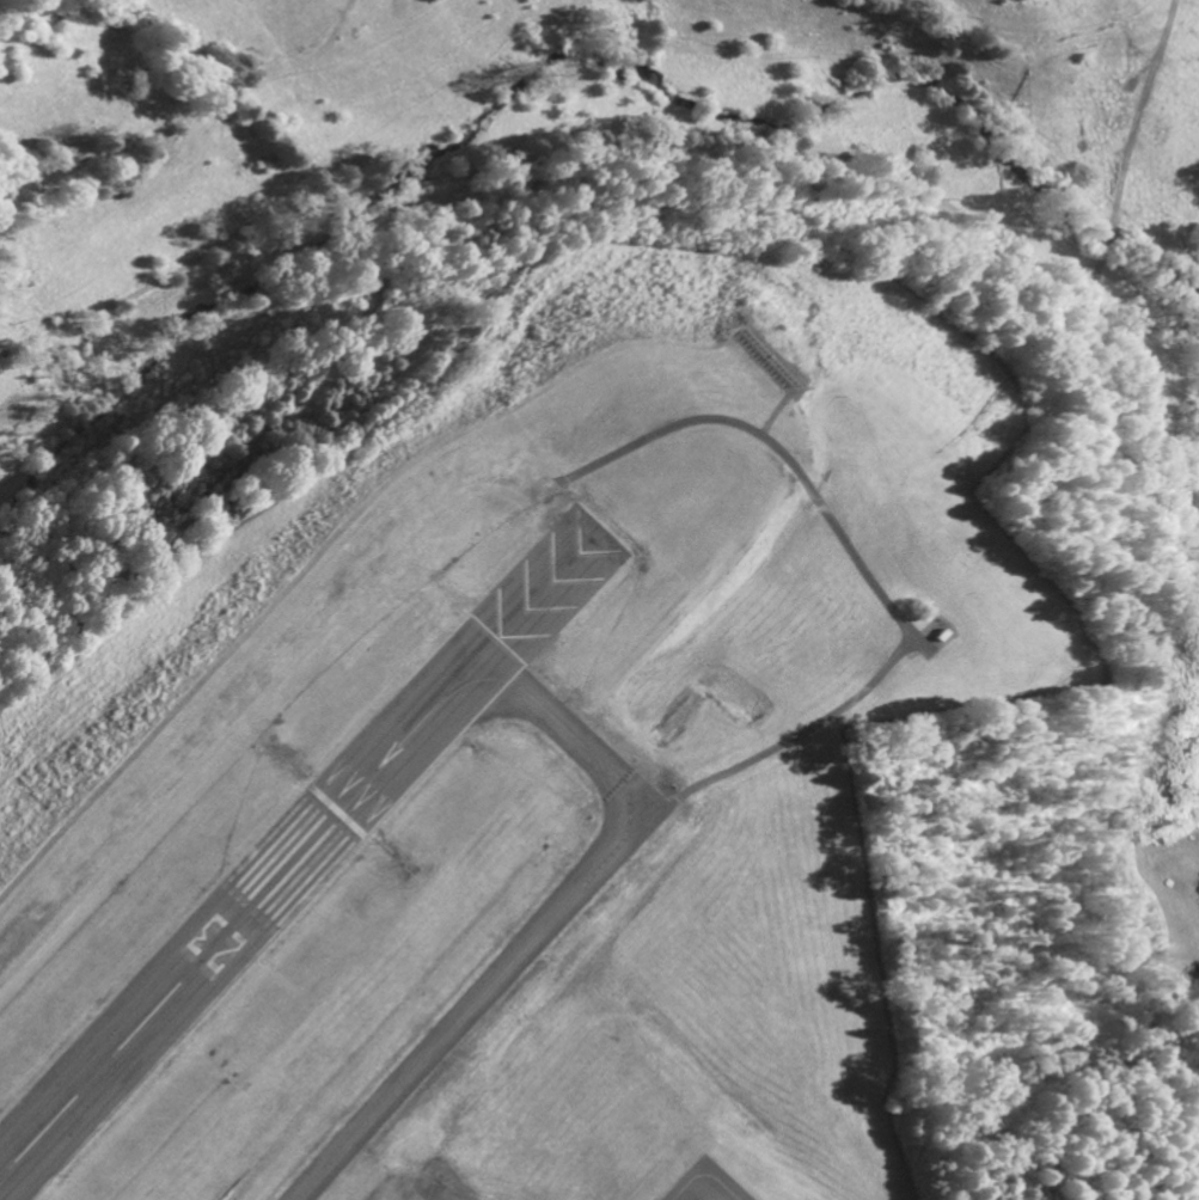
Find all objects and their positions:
road: (657, 262)
road: (1176, 532)
airport: (520, 772)
airport runway: (296, 853)
airport taxiway: (537, 930)
airport apron: (410, 1194)

